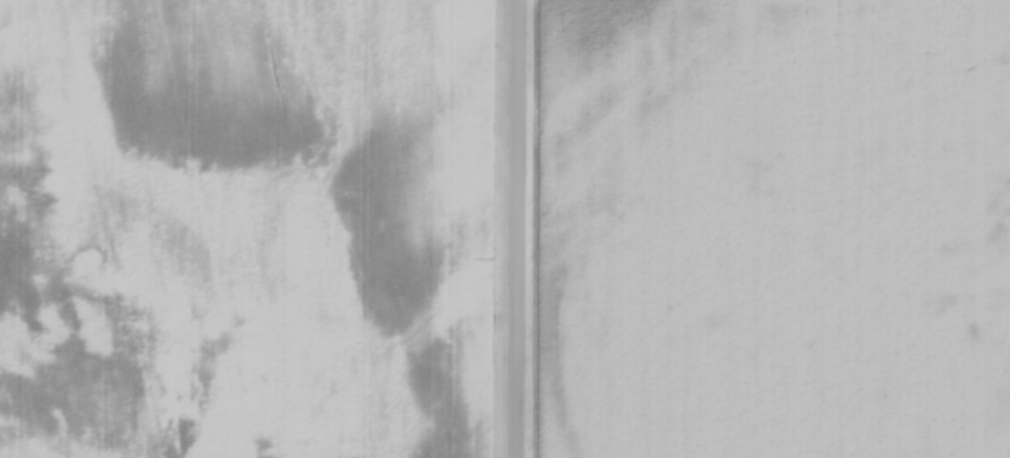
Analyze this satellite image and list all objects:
road: (518, 229)

